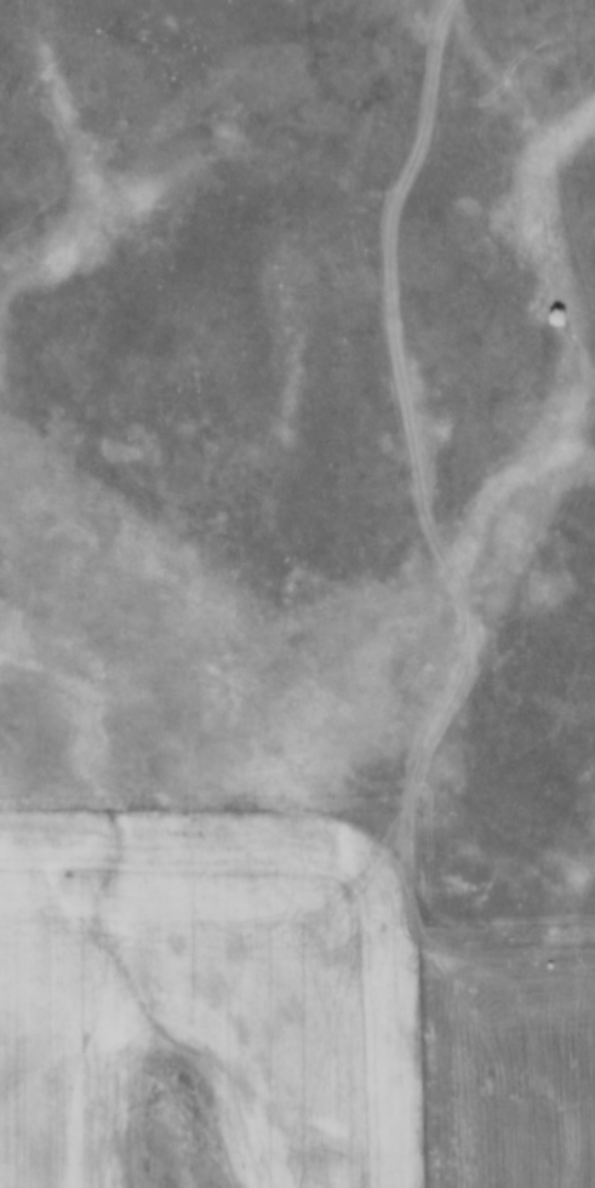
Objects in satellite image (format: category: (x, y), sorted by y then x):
road: (488, 481)
road: (244, 895)

